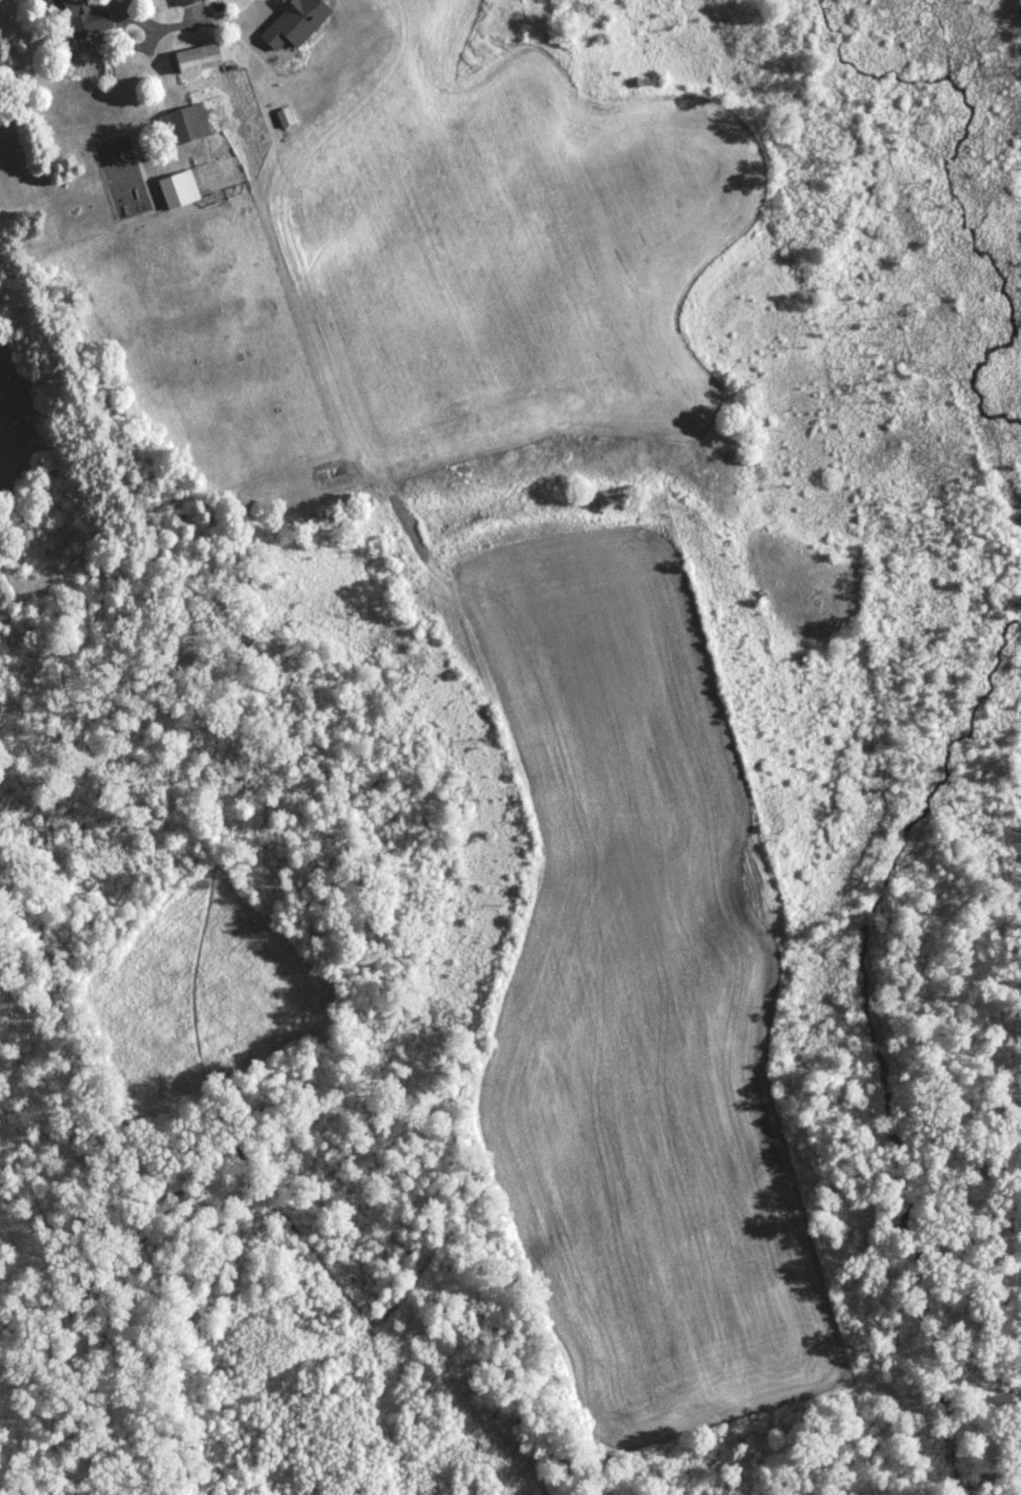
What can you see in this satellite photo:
building: (184, 1)
building: (83, 17)
road: (174, 25)
building: (197, 56)
building: (183, 123)
building: (176, 188)

